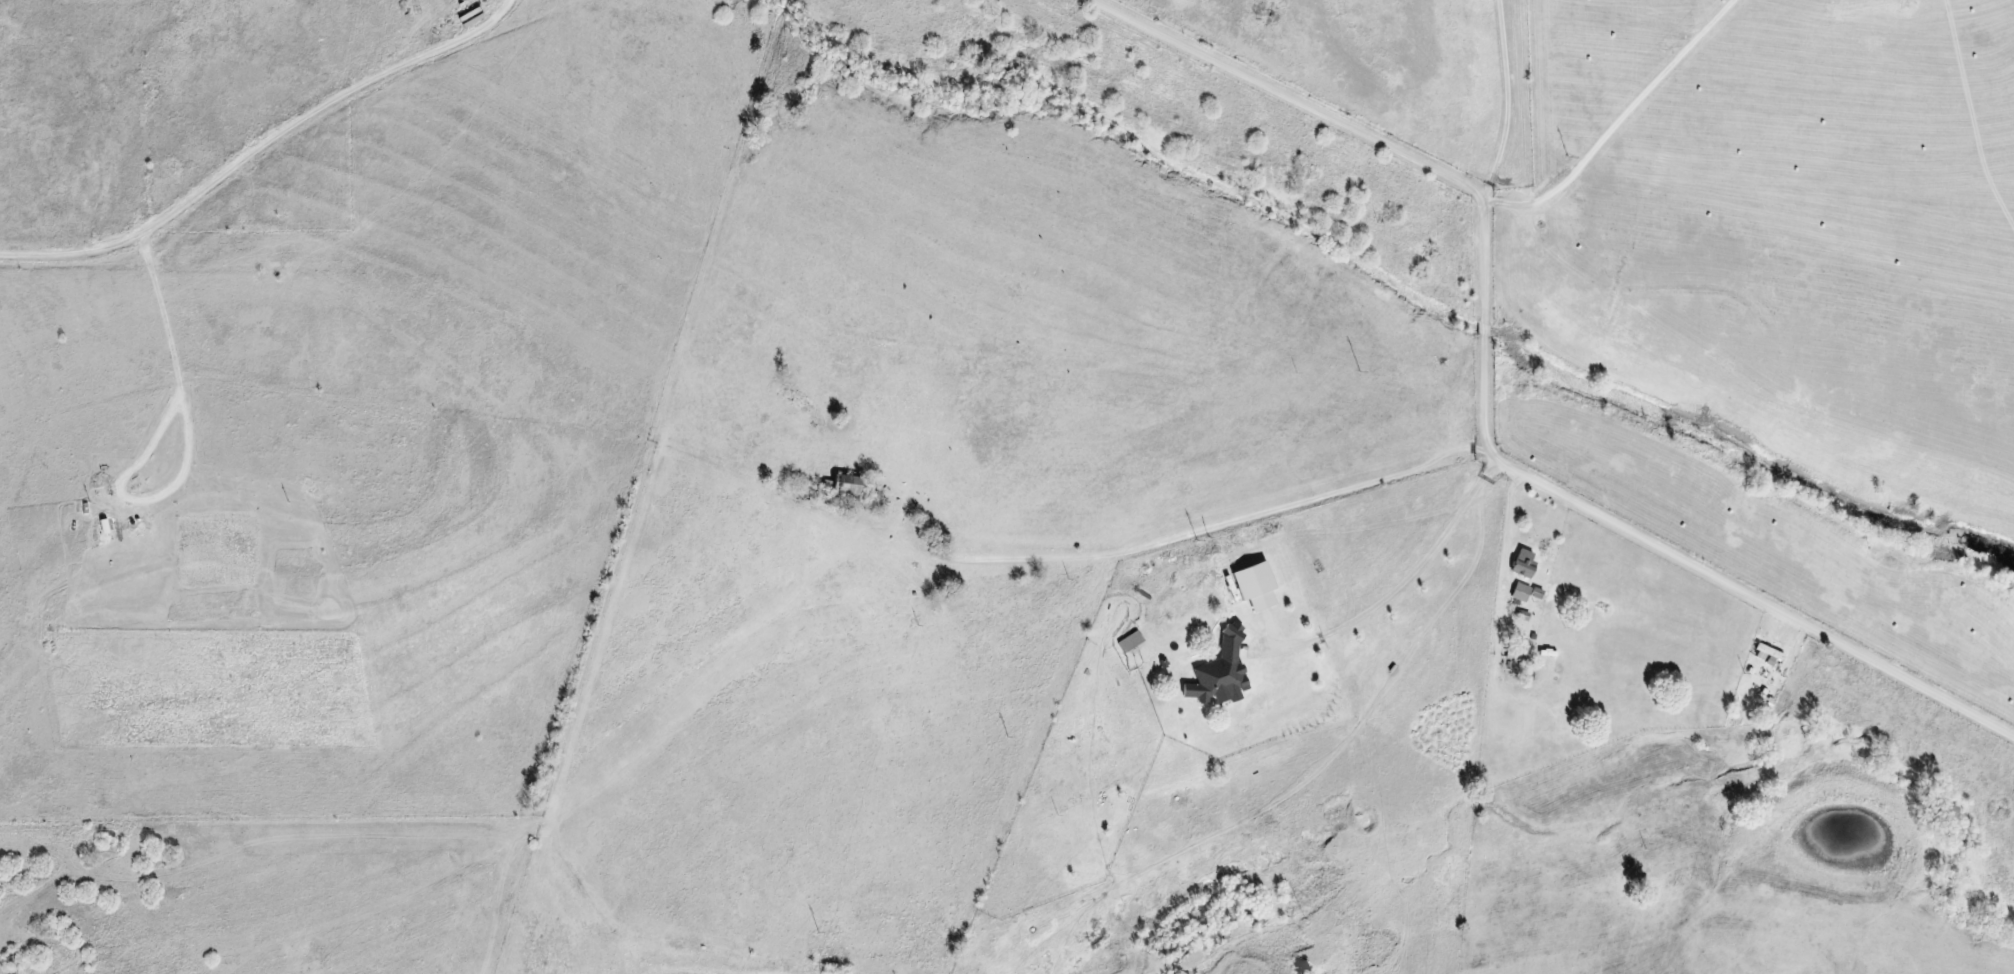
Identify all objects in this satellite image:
road: (1513, 95)
road: (1621, 122)
road: (294, 148)
road: (1488, 400)
building: (843, 486)
road: (829, 530)
building: (1521, 562)
building: (1252, 585)
road: (1398, 588)
building: (1519, 592)
building: (1129, 641)
building: (1766, 654)
building: (1218, 672)

